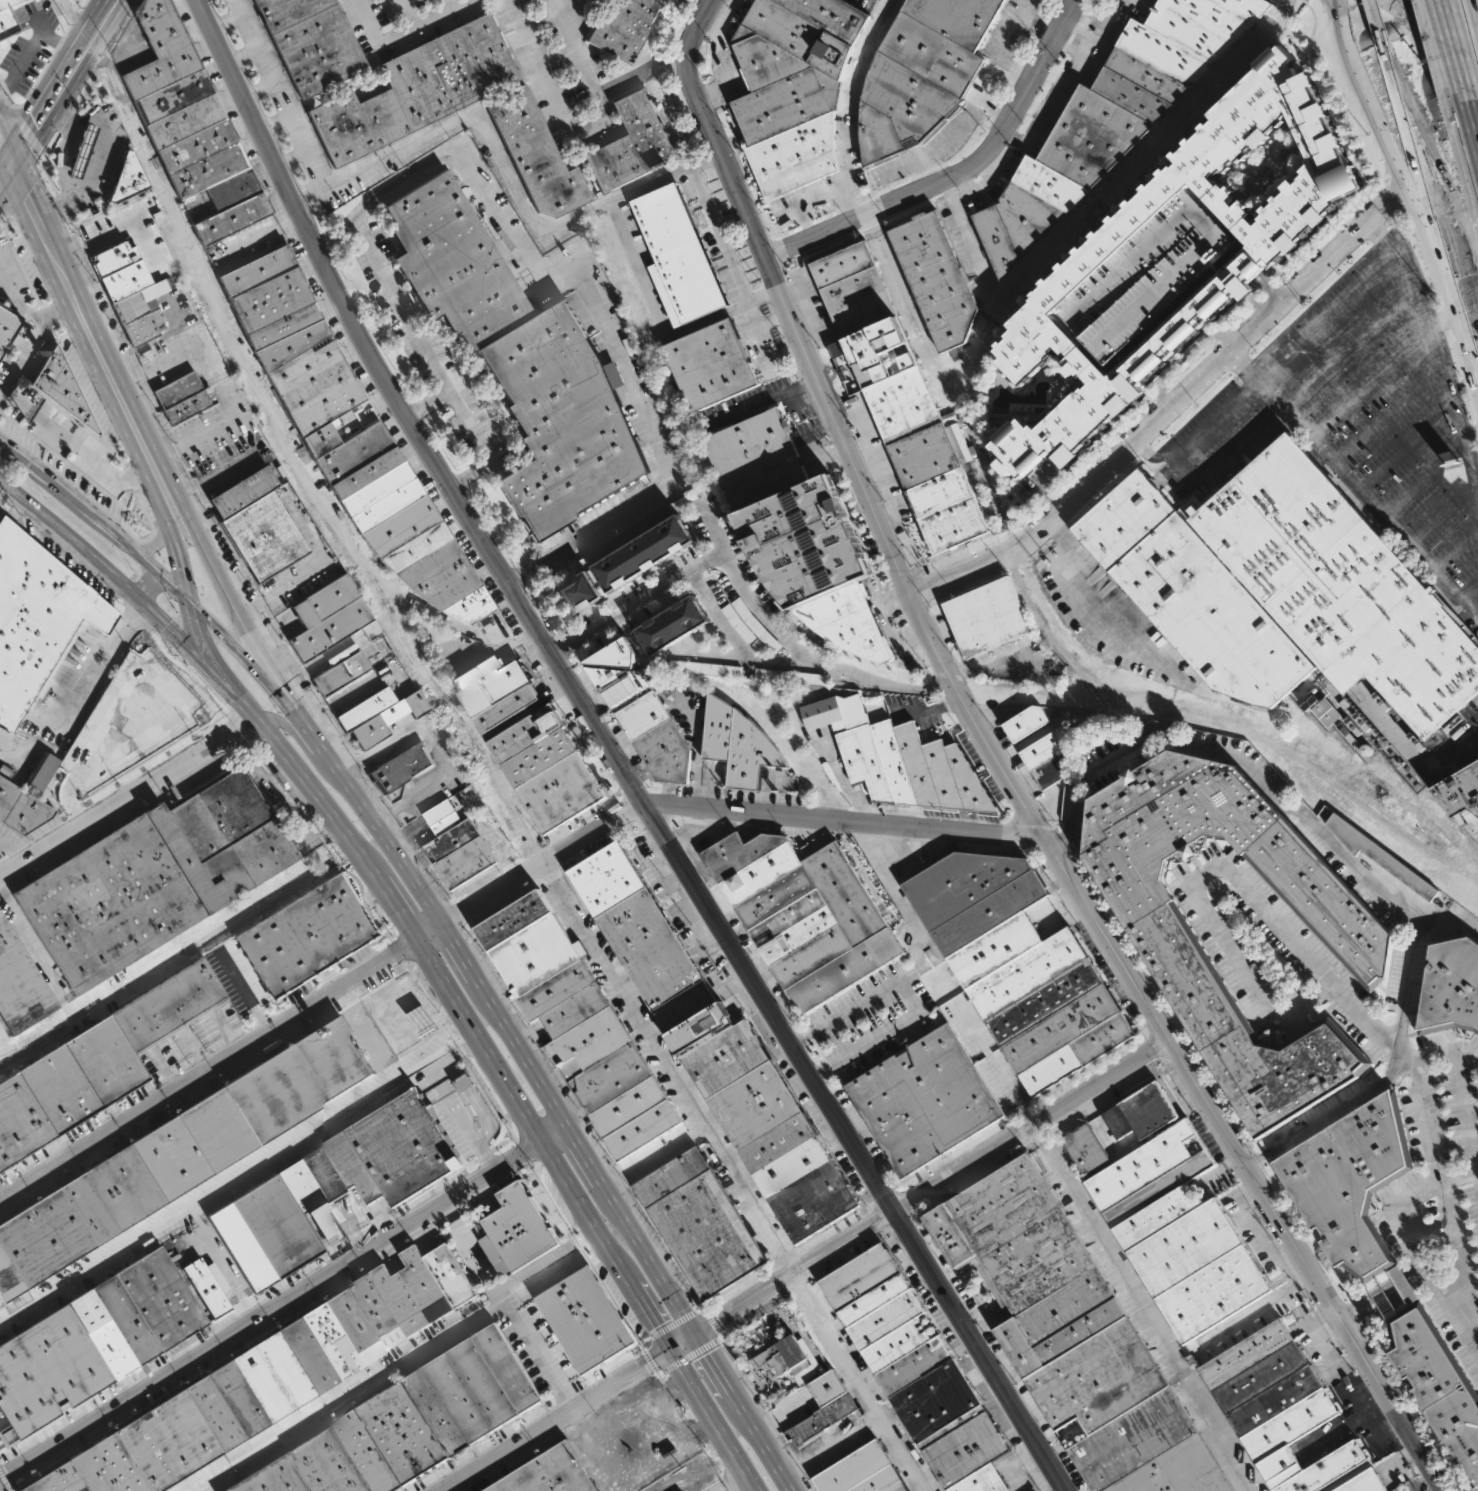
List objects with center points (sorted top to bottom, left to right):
road: (1143, 2)
road: (1335, 4)
road: (1469, 4)
road: (1443, 14)
road: (1374, 16)
road: (223, 18)
building: (6, 19)
road: (75, 21)
road: (121, 24)
road: (1441, 24)
road: (1041, 26)
building: (625, 27)
road: (399, 31)
road: (94, 35)
building: (314, 43)
building: (161, 49)
road: (240, 54)
road: (1452, 64)
building: (922, 72)
road: (1014, 75)
road: (255, 84)
building: (794, 87)
road: (280, 91)
building: (417, 91)
road: (552, 94)
road: (599, 94)
road: (6, 95)
road: (1201, 103)
road: (1376, 114)
road: (46, 115)
building: (1114, 117)
road: (991, 118)
road: (6, 119)
road: (968, 119)
road: (1467, 120)
road: (273, 123)
road: (1403, 129)
road: (28, 134)
building: (632, 144)
road: (1415, 144)
road: (98, 147)
road: (1467, 150)
building: (82, 151)
gas station: (82, 151)
building: (203, 153)
building: (536, 154)
road: (288, 155)
traffic signals: (19, 159)
road: (61, 164)
road: (505, 164)
road: (11, 171)
road: (926, 176)
road: (959, 177)
road: (2, 178)
building: (127, 178)
road: (113, 180)
traffic signals: (4, 183)
road: (2, 186)
road: (107, 190)
road: (19, 197)
road: (4, 224)
road: (872, 224)
road: (121, 229)
road: (1378, 239)
road: (721, 248)
building: (672, 257)
road: (886, 257)
road: (1225, 259)
road: (88, 260)
building: (1242, 267)
road: (1243, 267)
building: (120, 270)
building: (1144, 276)
parking garage: (1144, 276)
building: (937, 281)
road: (1359, 285)
road: (1268, 287)
road: (591, 290)
road: (1464, 291)
road: (82, 296)
road: (655, 307)
road: (23, 309)
road: (1452, 309)
building: (140, 313)
road: (1435, 318)
road: (766, 320)
building: (8, 325)
road: (978, 347)
road: (1345, 349)
road: (85, 351)
road: (782, 353)
building: (1, 355)
road: (22, 359)
road: (431, 360)
building: (524, 360)
building: (712, 368)
road: (1363, 379)
building: (178, 389)
building: (60, 391)
building: (895, 396)
road: (13, 400)
road: (423, 400)
road: (766, 401)
building: (189, 405)
road: (1171, 408)
road: (27, 412)
road: (1385, 416)
building: (318, 430)
road: (1468, 434)
road: (198, 440)
road: (1403, 447)
road: (1230, 455)
road: (84, 456)
building: (758, 461)
road: (296, 463)
road: (125, 472)
road: (35, 474)
road: (1420, 475)
road: (1354, 481)
road: (1051, 500)
road: (1442, 513)
building: (259, 523)
road: (629, 535)
road: (111, 536)
road: (71, 541)
building: (810, 541)
road: (151, 545)
building: (1304, 549)
road: (1456, 549)
building: (643, 552)
road: (215, 574)
building: (595, 577)
road: (148, 586)
road: (745, 588)
building: (579, 593)
building: (1195, 596)
traffic signals: (188, 599)
road: (188, 602)
road: (1095, 606)
building: (333, 617)
building: (989, 617)
building: (38, 619)
road: (212, 621)
building: (849, 623)
building: (671, 624)
road: (181, 639)
building: (637, 643)
road: (738, 646)
road: (689, 651)
building: (616, 654)
road: (105, 661)
building: (1413, 662)
building: (706, 668)
building: (343, 673)
building: (790, 676)
building: (496, 691)
road: (240, 700)
building: (1323, 710)
building: (382, 714)
building: (645, 721)
building: (1023, 723)
road: (291, 725)
building: (3, 739)
building: (741, 744)
road: (1458, 748)
road: (697, 752)
road: (611, 755)
building: (1045, 757)
road: (1239, 757)
building: (902, 759)
building: (402, 767)
building: (549, 768)
road: (1004, 769)
building: (40, 773)
road: (313, 786)
building: (1459, 791)
road: (128, 795)
road: (401, 802)
building: (22, 808)
road: (726, 811)
road: (1054, 837)
building: (458, 846)
road: (12, 853)
building: (1373, 855)
road: (1222, 860)
building: (155, 879)
building: (972, 895)
road: (392, 898)
building: (807, 915)
building: (306, 936)
road: (432, 936)
building: (994, 949)
road: (35, 950)
building: (1172, 952)
railway: (163, 968)
building: (1448, 984)
building: (20, 985)
road: (246, 994)
road: (906, 994)
building: (1050, 1003)
building: (581, 1024)
road: (1401, 1035)
building: (2, 1036)
building: (718, 1049)
building: (98, 1063)
road: (209, 1073)
road: (536, 1077)
building: (925, 1099)
road: (517, 1104)
road: (1463, 1106)
building: (1141, 1111)
building: (1086, 1149)
building: (181, 1154)
road: (1255, 1161)
road: (736, 1174)
road: (1431, 1182)
building: (1346, 1183)
building: (335, 1188)
railway: (223, 1194)
road: (919, 1196)
road: (159, 1223)
building: (703, 1225)
building: (517, 1230)
building: (1178, 1234)
road: (1261, 1236)
road: (456, 1241)
road: (1396, 1277)
building: (1400, 1285)
road: (1405, 1292)
road: (1352, 1304)
road: (284, 1305)
road: (644, 1307)
road: (1144, 1309)
road: (1257, 1310)
building: (584, 1319)
road: (1361, 1319)
building: (105, 1333)
traffic signals: (698, 1336)
building: (1075, 1336)
traffic signals: (672, 1351)
building: (791, 1357)
road: (537, 1360)
building: (920, 1368)
railway: (385, 1376)
building: (269, 1377)
building: (1438, 1387)
road: (643, 1392)
building: (1277, 1402)
building: (821, 1407)
road: (555, 1419)
road: (640, 1419)
road: (712, 1421)
building: (409, 1423)
road: (681, 1436)
building: (652, 1438)
road: (593, 1448)
building: (865, 1472)
building: (551, 1473)
building: (1364, 1482)
railway: (689, 1486)

